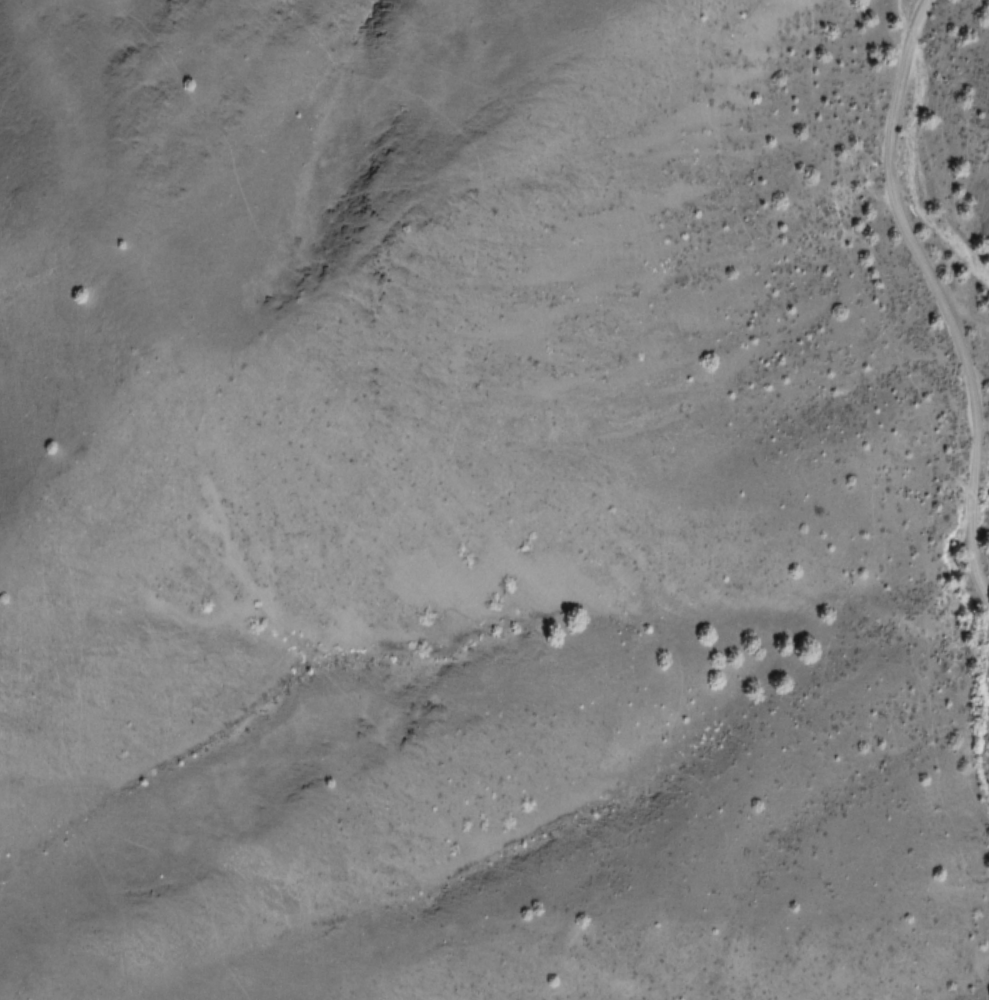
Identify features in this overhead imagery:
road: (940, 297)

